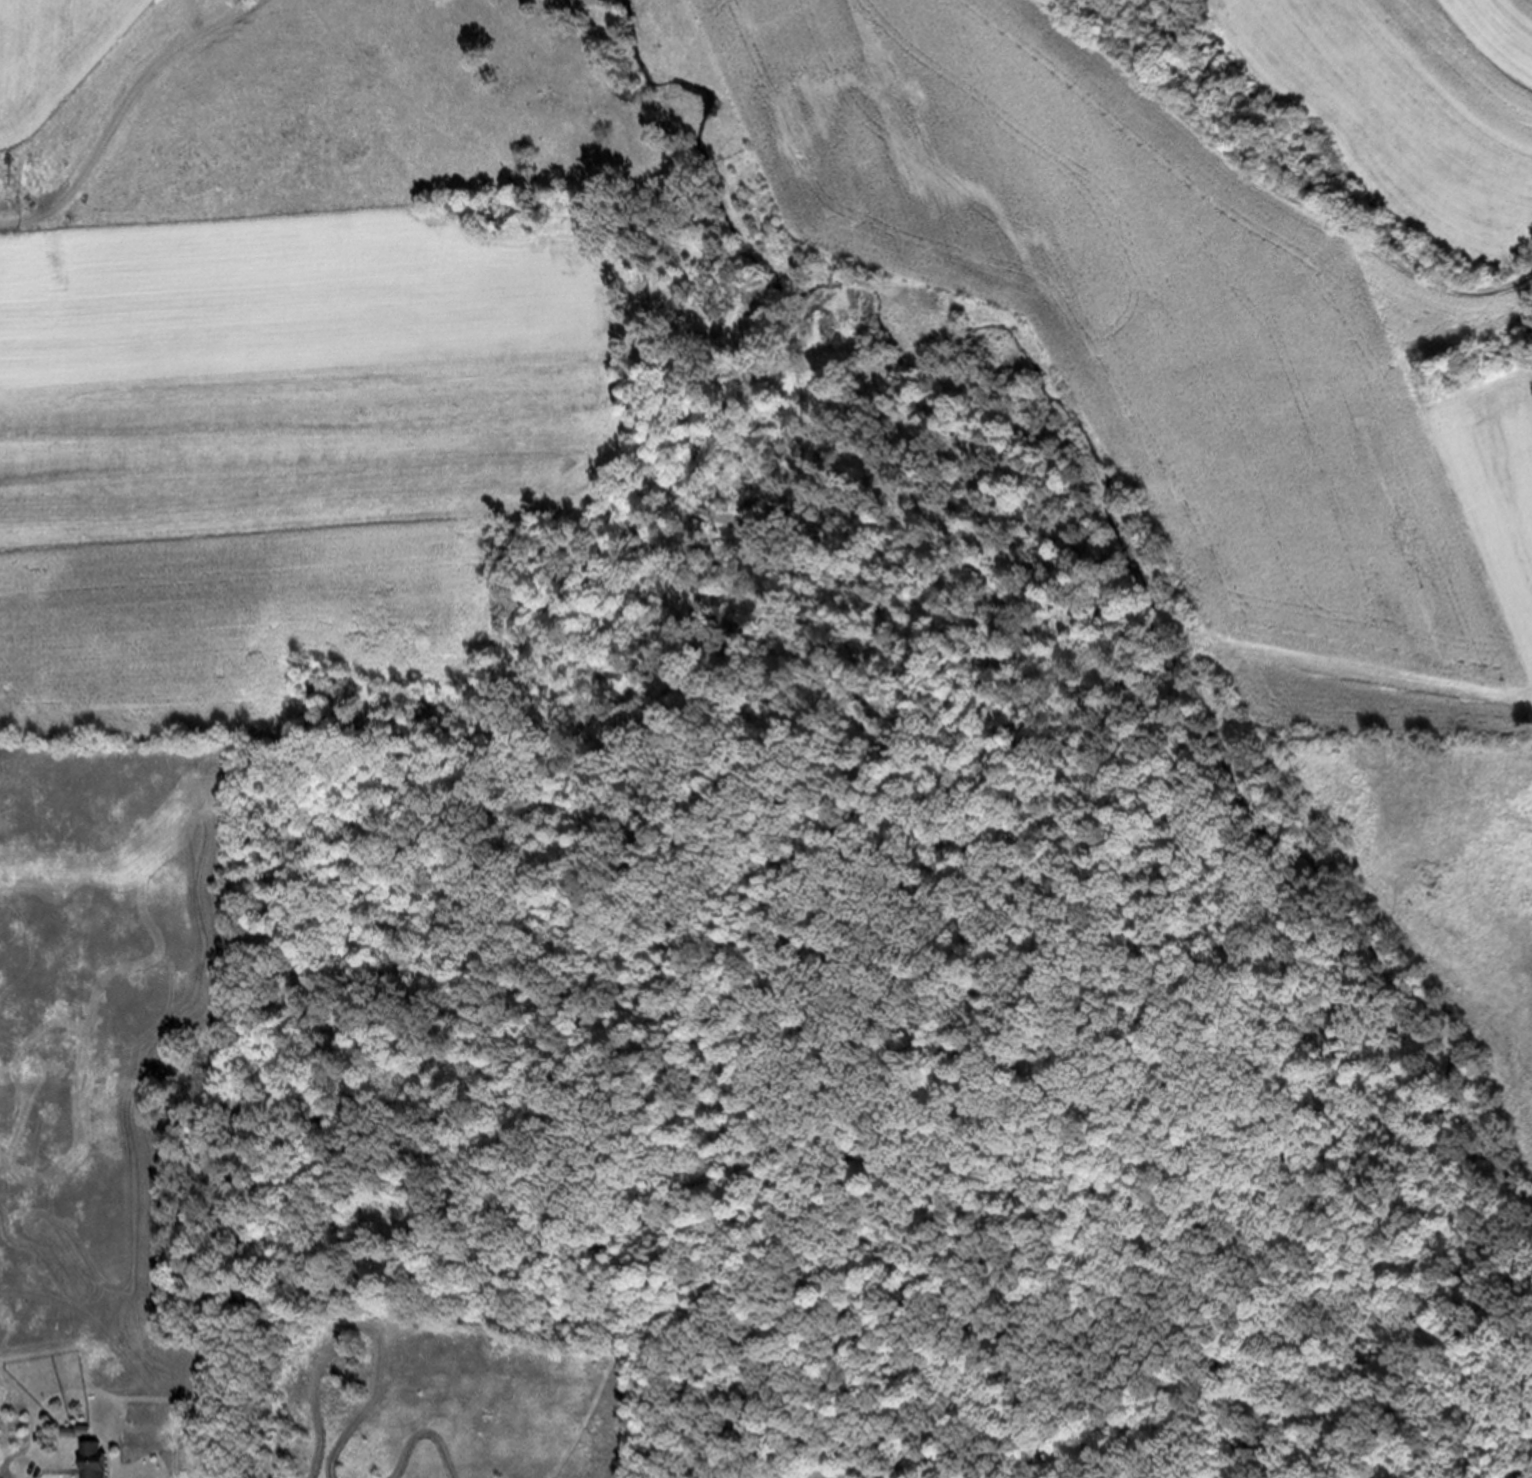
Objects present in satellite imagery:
road: (132, 113)
road: (1277, 177)
building: (97, 1465)

